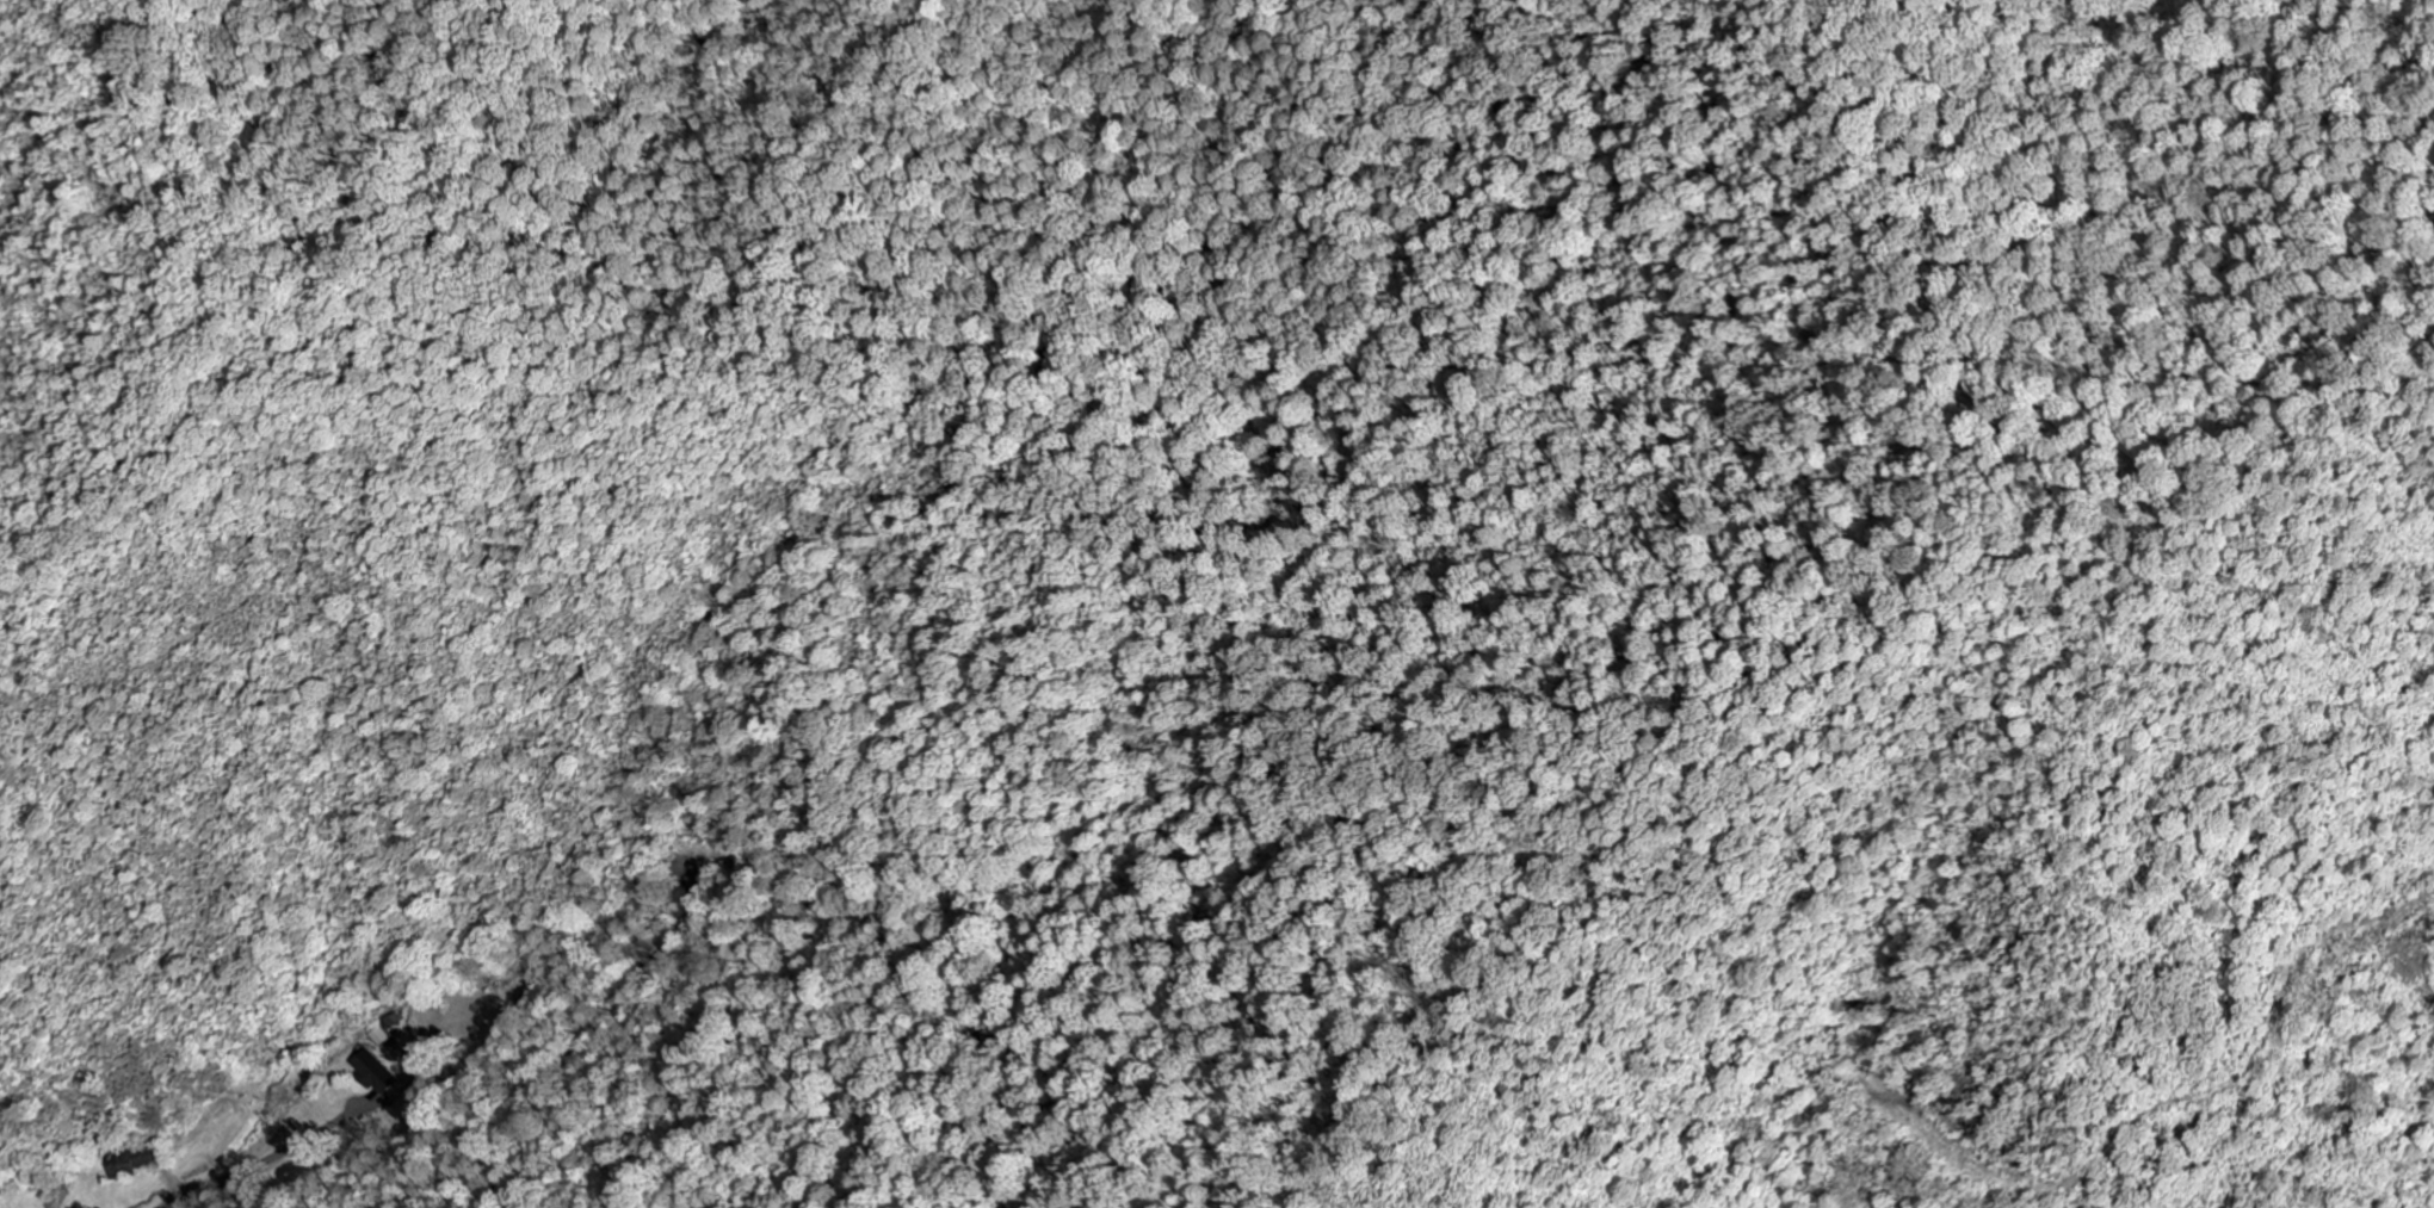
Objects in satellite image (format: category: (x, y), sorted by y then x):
building: (378, 1076)
building: (137, 1160)
road: (255, 1164)

